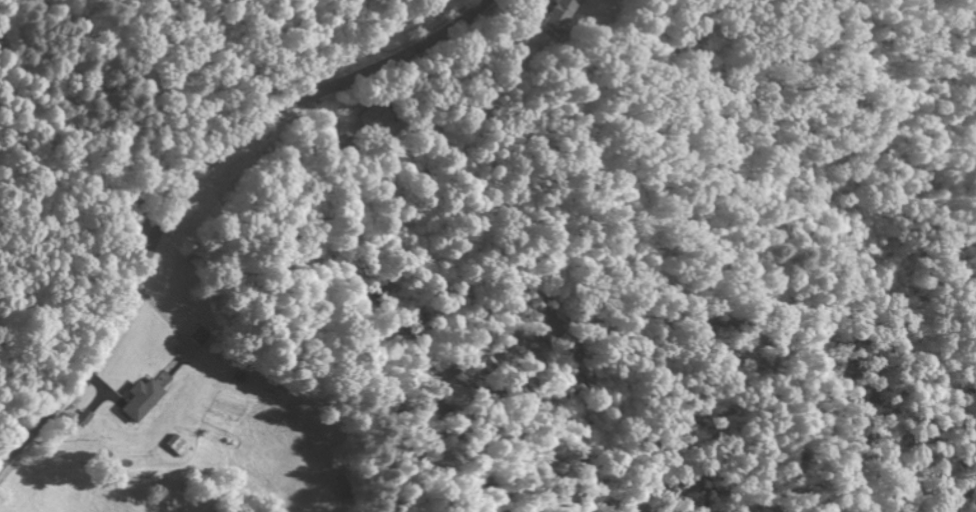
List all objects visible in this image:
building: (559, 15)
road: (189, 175)
building: (199, 336)
building: (141, 399)
building: (84, 417)

